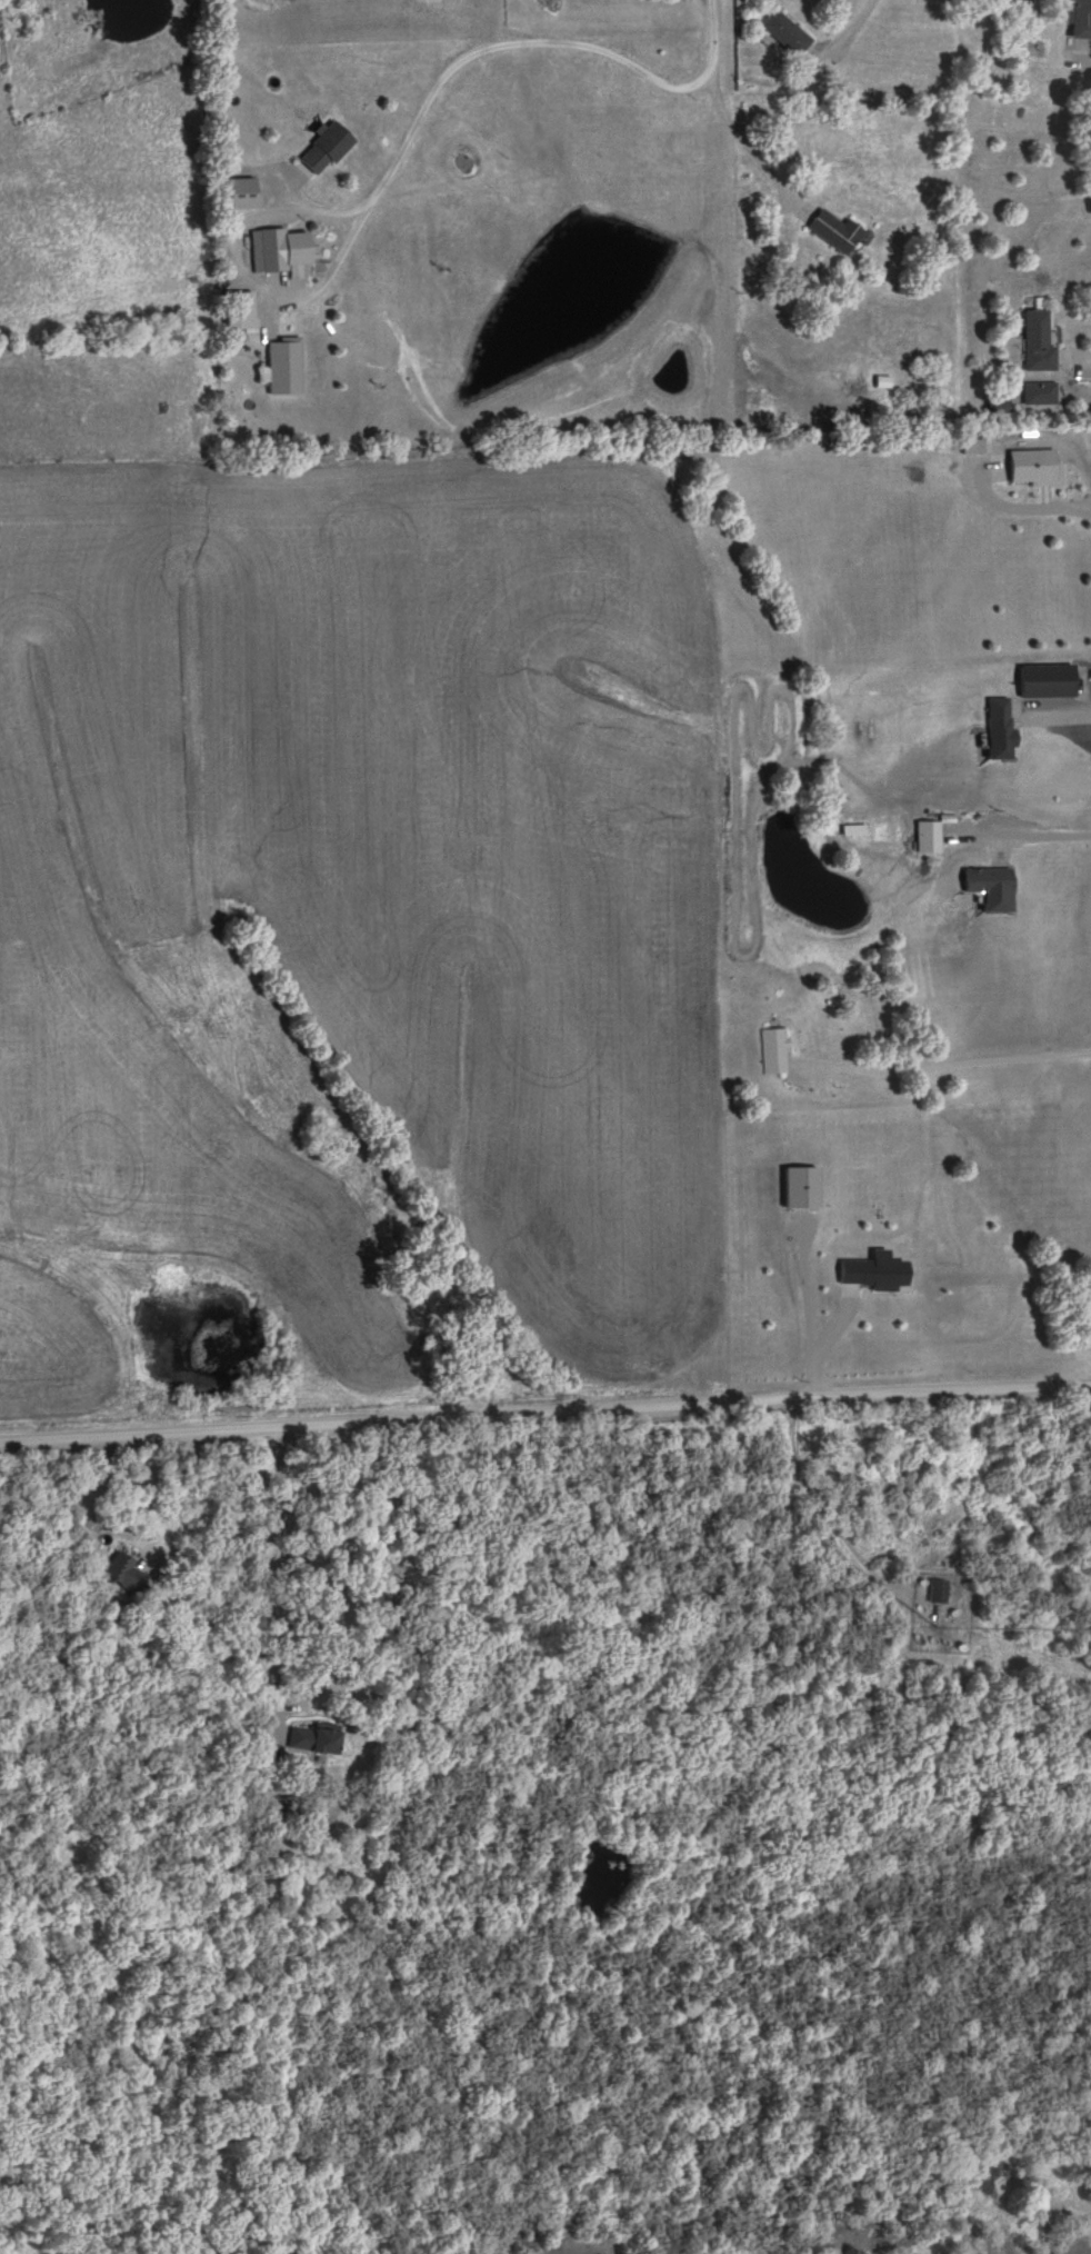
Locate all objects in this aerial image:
building: (1081, 19)
building: (789, 33)
road: (713, 60)
building: (329, 149)
road: (374, 197)
building: (838, 232)
building: (270, 251)
building: (1040, 341)
building: (287, 366)
building: (1041, 393)
building: (1000, 406)
building: (1037, 467)
building: (1003, 729)
building: (995, 887)
building: (778, 1050)
building: (804, 1188)
road: (545, 1417)
building: (126, 1573)
building: (940, 1592)
building: (317, 1739)

